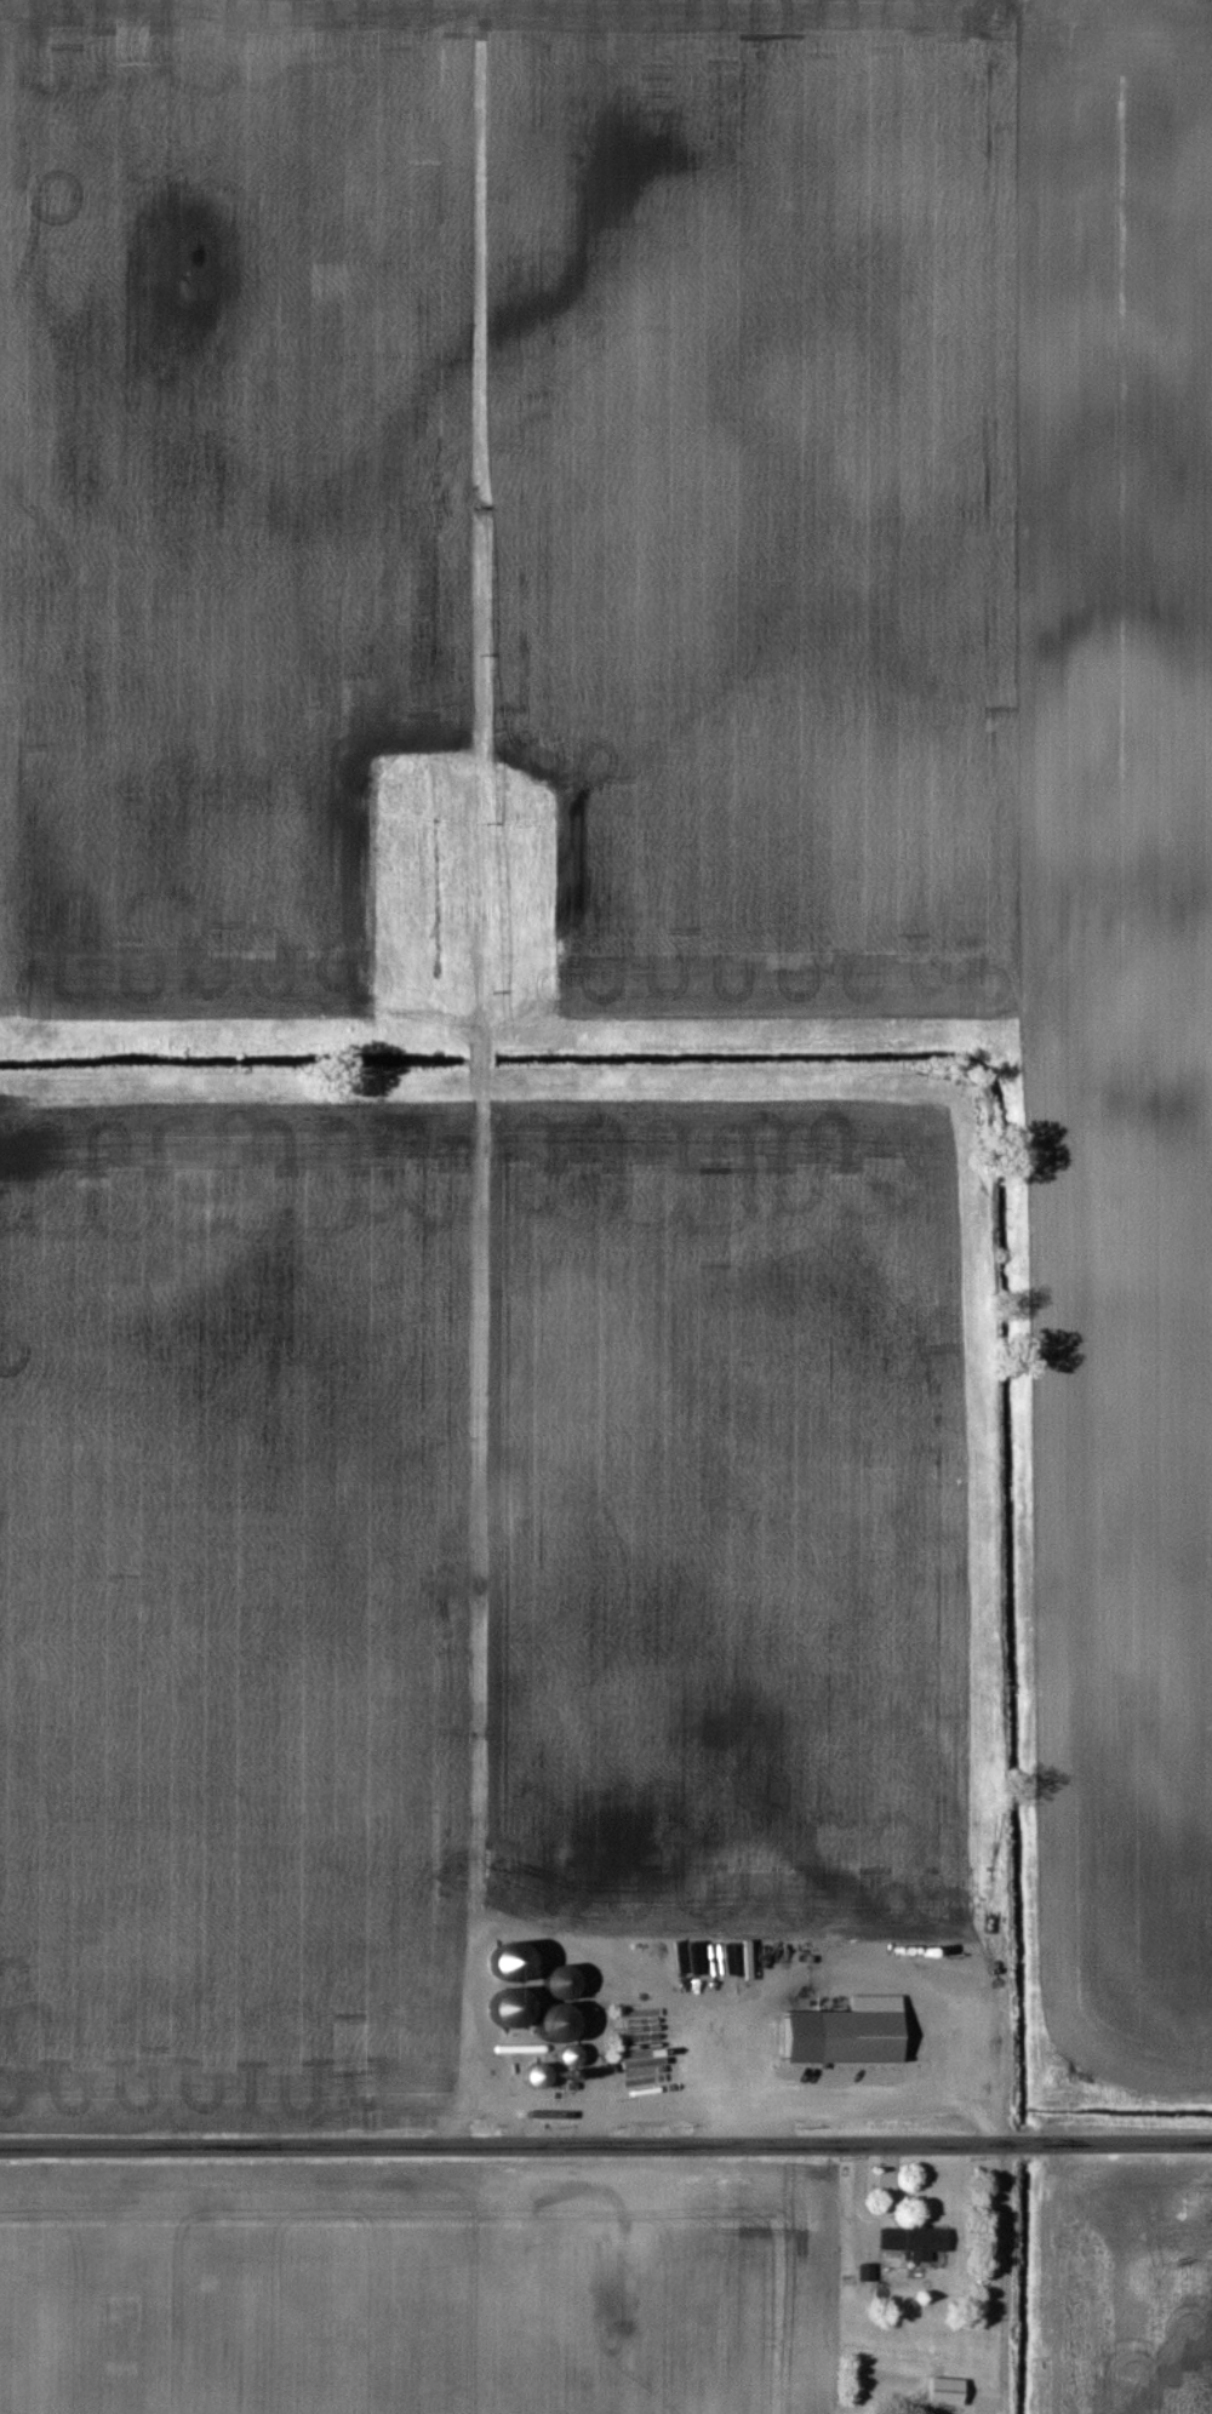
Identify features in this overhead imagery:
building: (555, 1981)
building: (549, 2023)
building: (844, 2032)
building: (570, 2059)
building: (533, 2075)
road: (1108, 2138)
road: (503, 2141)
building: (911, 2241)
building: (953, 2392)

